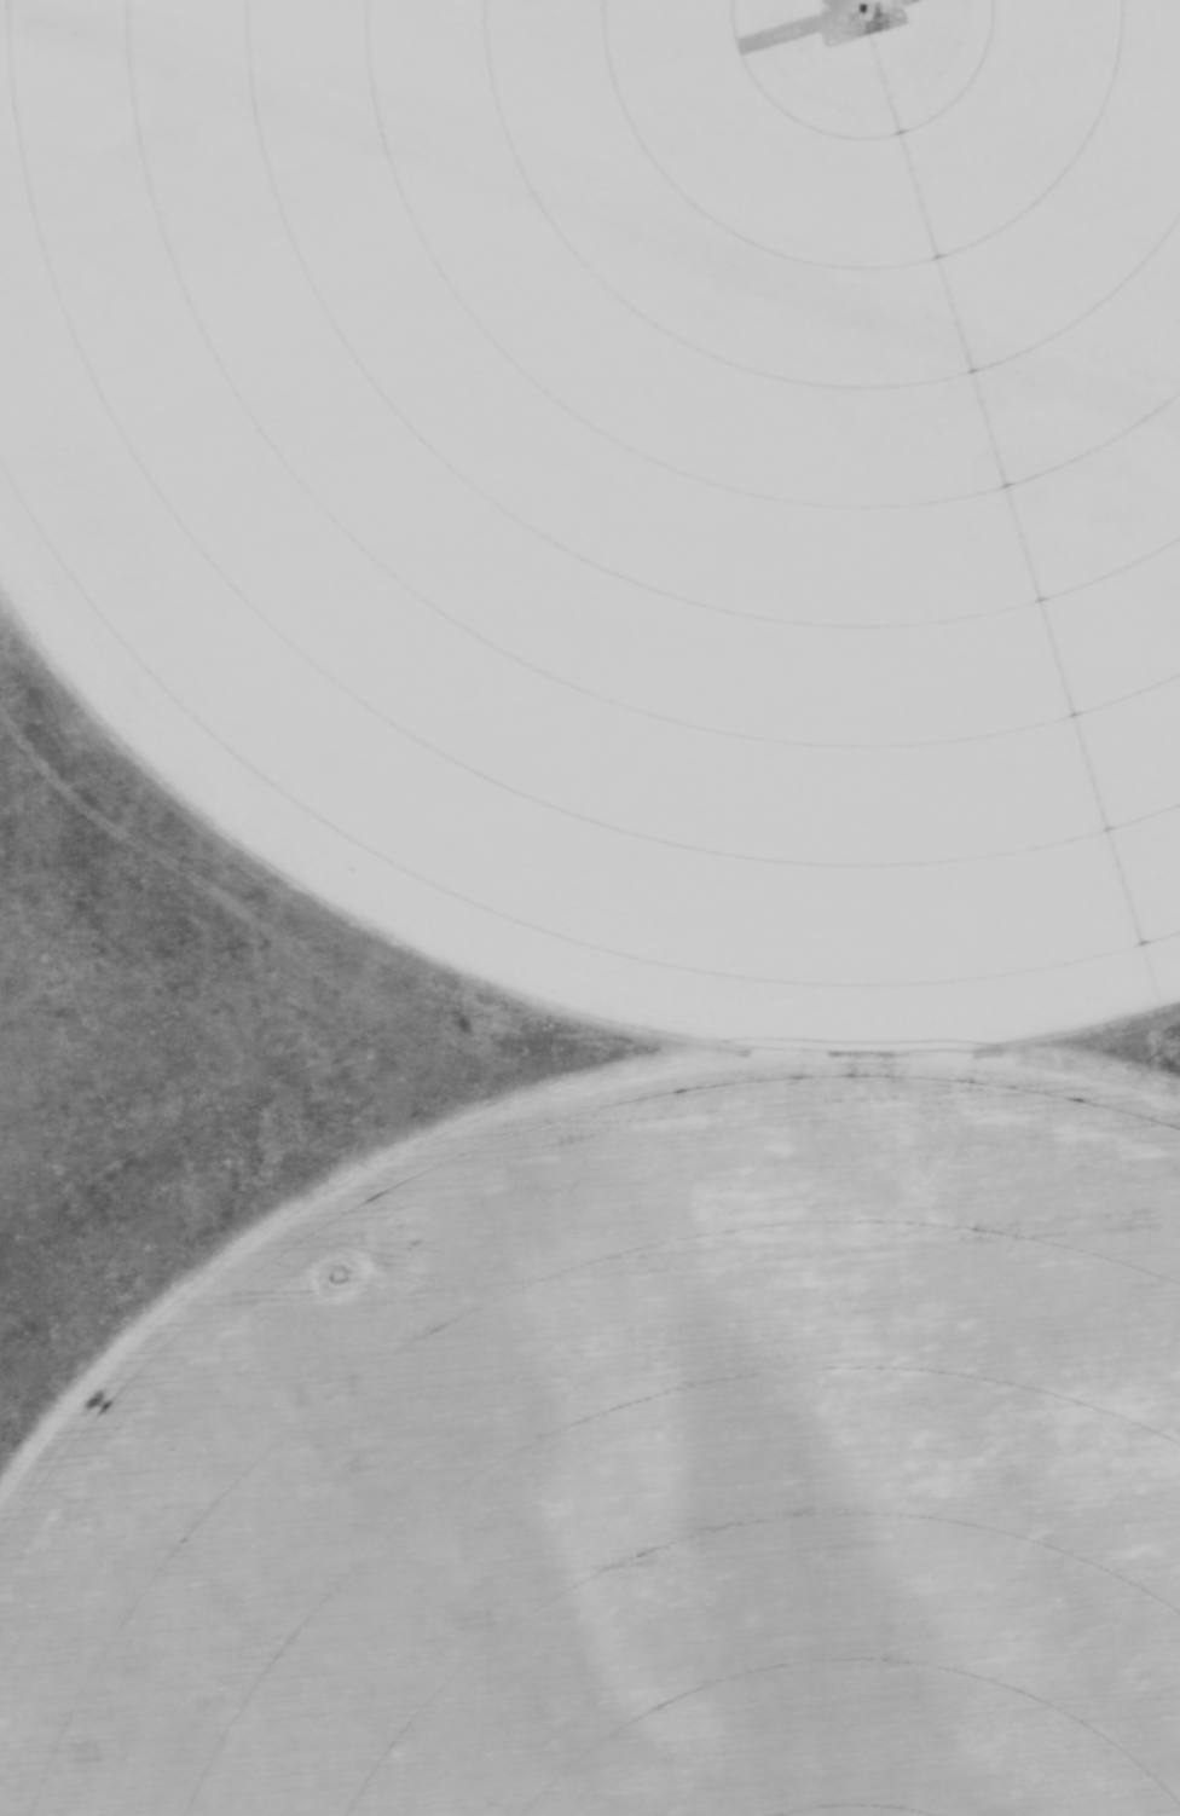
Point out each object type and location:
crop: (641, 909)

